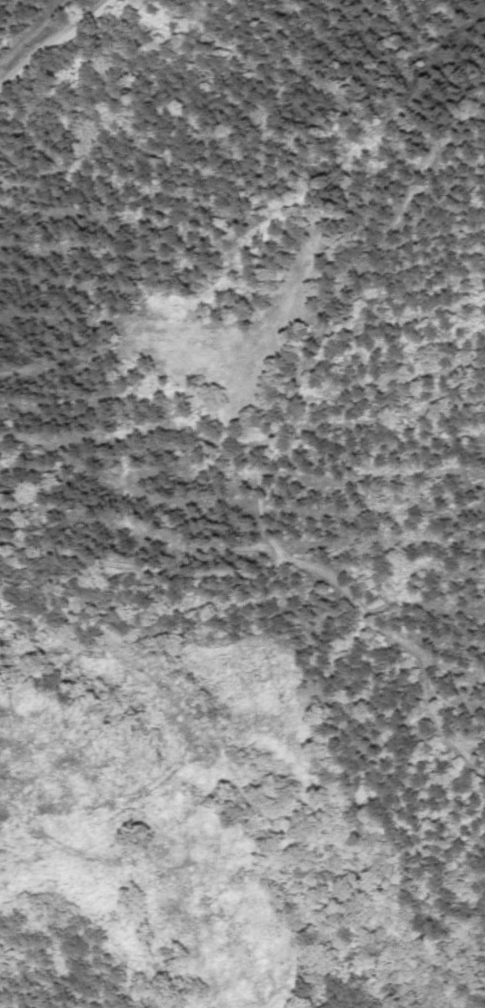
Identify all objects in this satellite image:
road: (51, 37)

